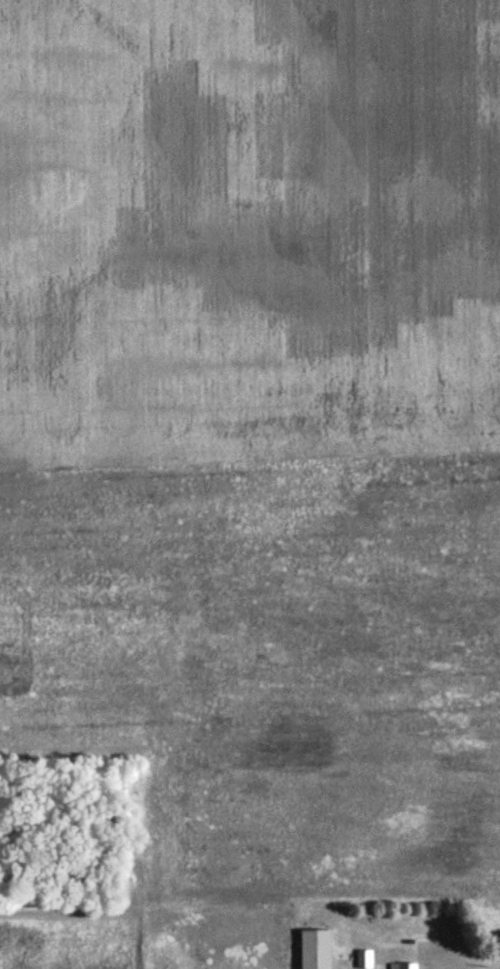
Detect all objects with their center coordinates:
building: (313, 949)
building: (403, 966)

